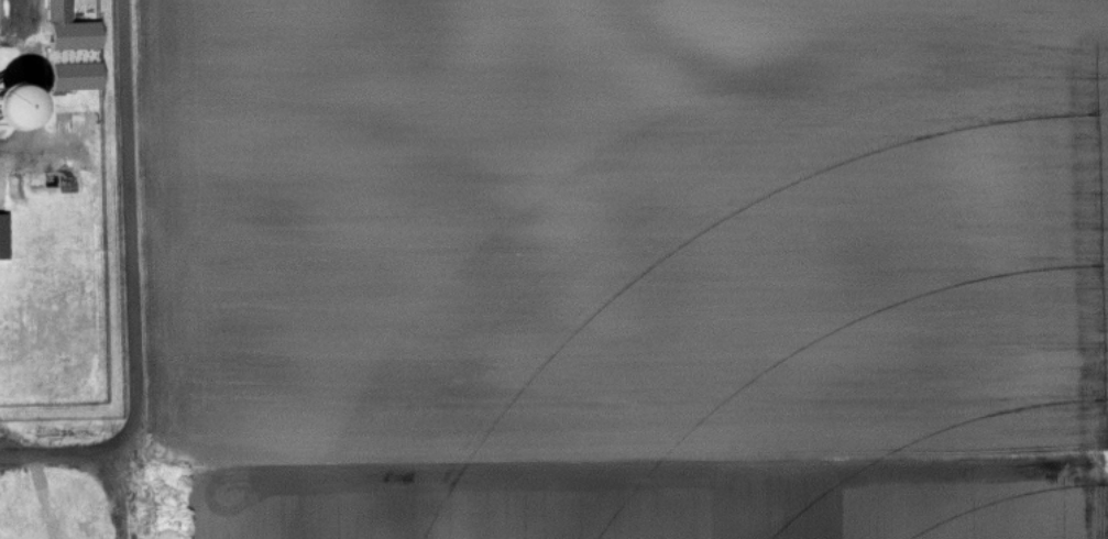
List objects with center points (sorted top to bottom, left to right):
building: (73, 51)
road: (131, 287)

